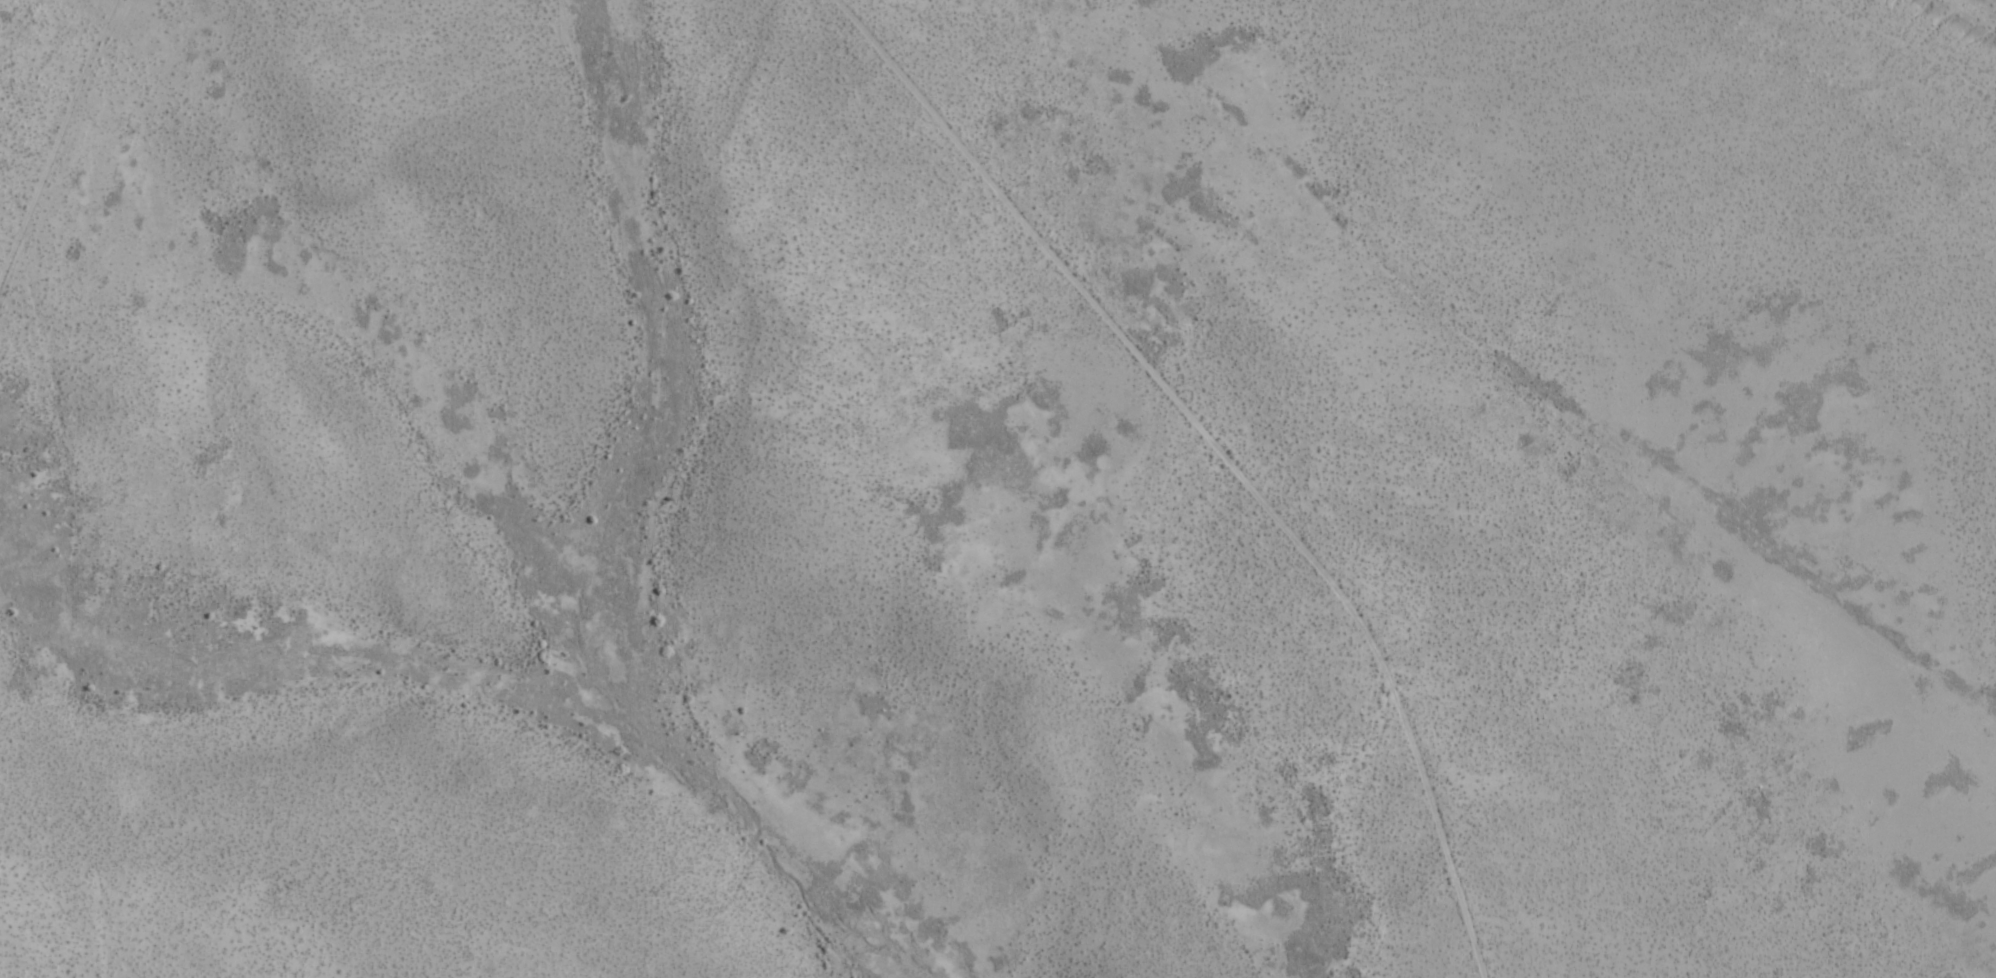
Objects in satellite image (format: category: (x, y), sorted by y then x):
road: (1255, 449)

